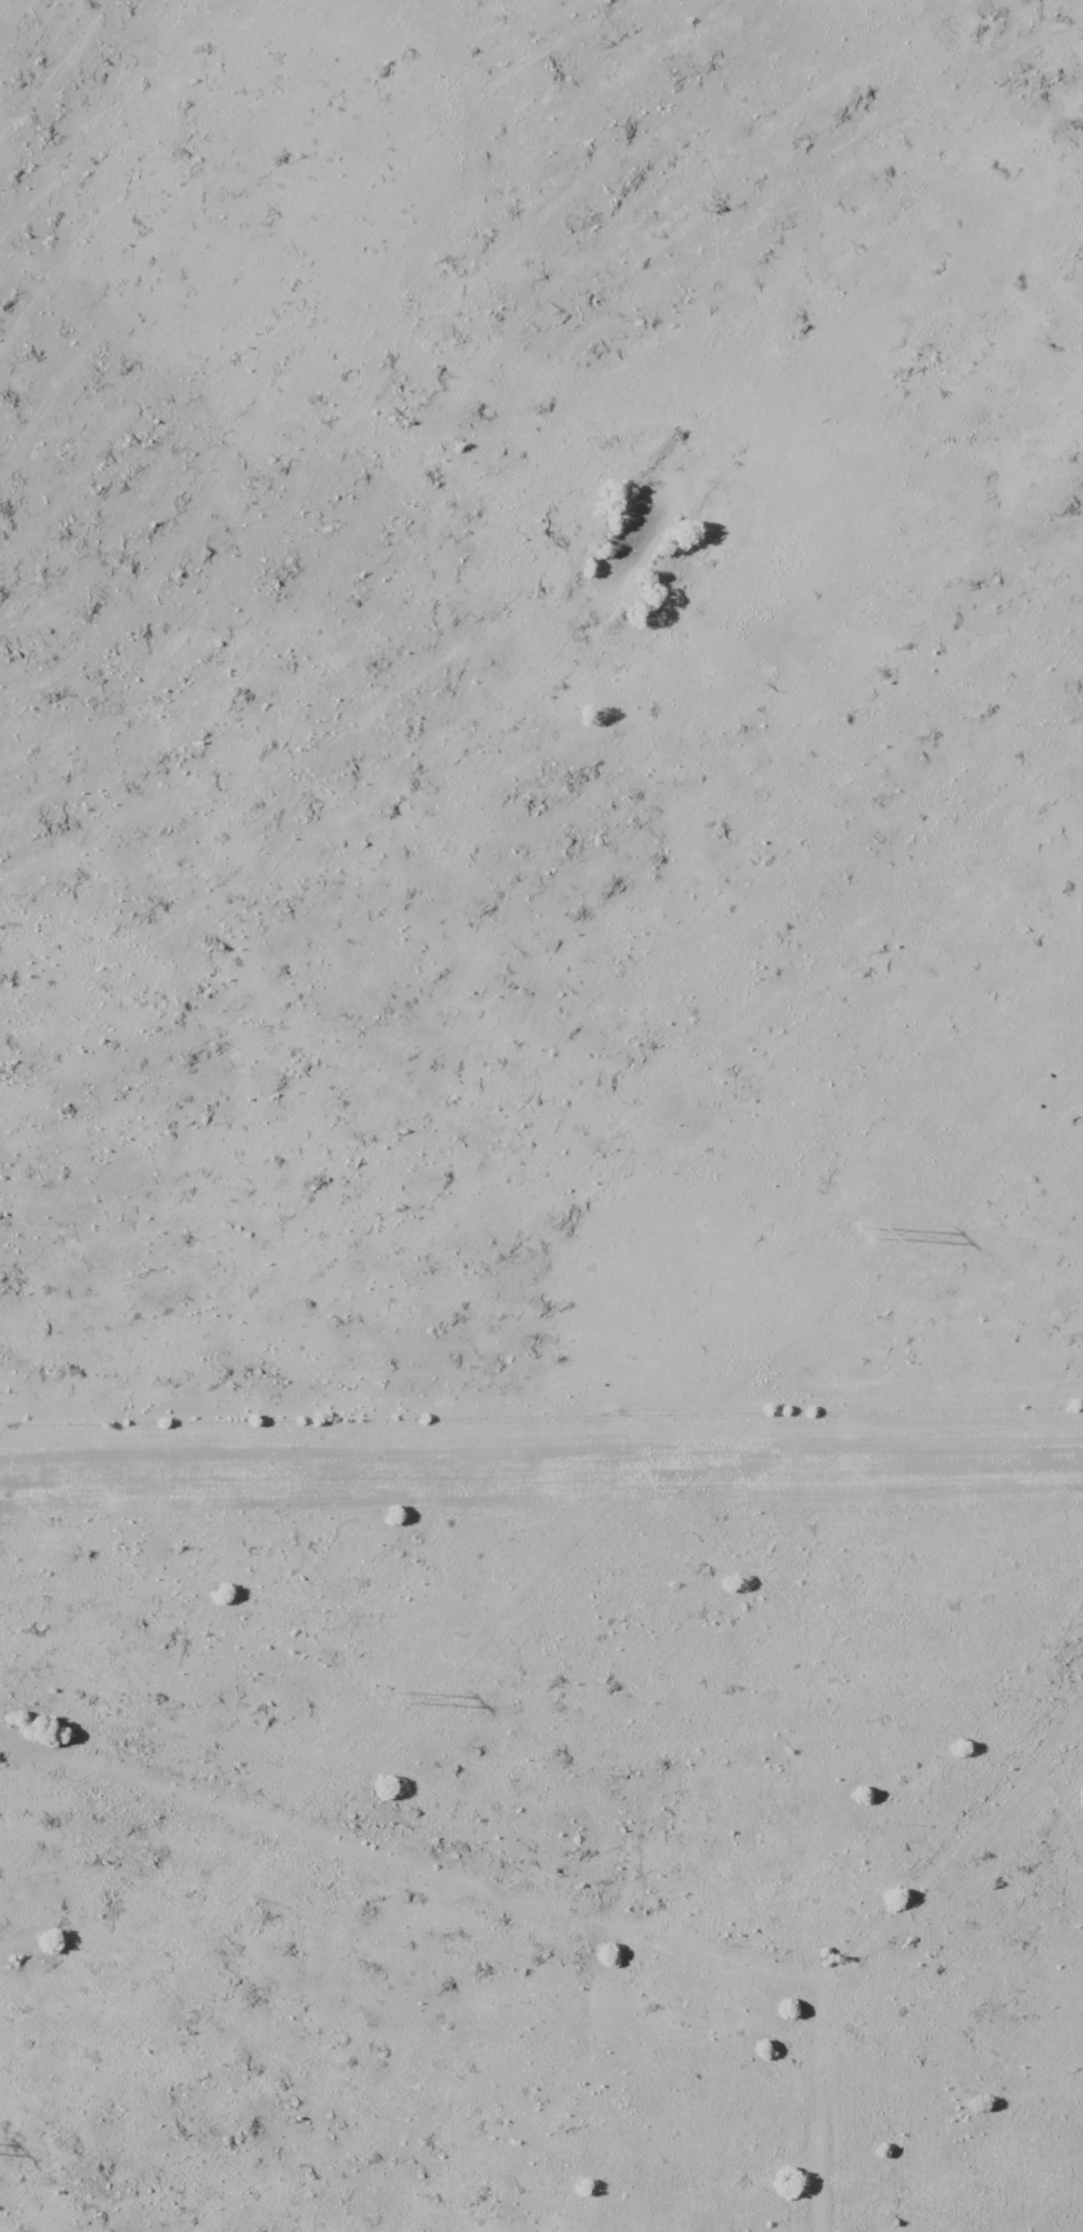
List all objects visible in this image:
power tower: (868, 1229)
power tower: (397, 1696)

